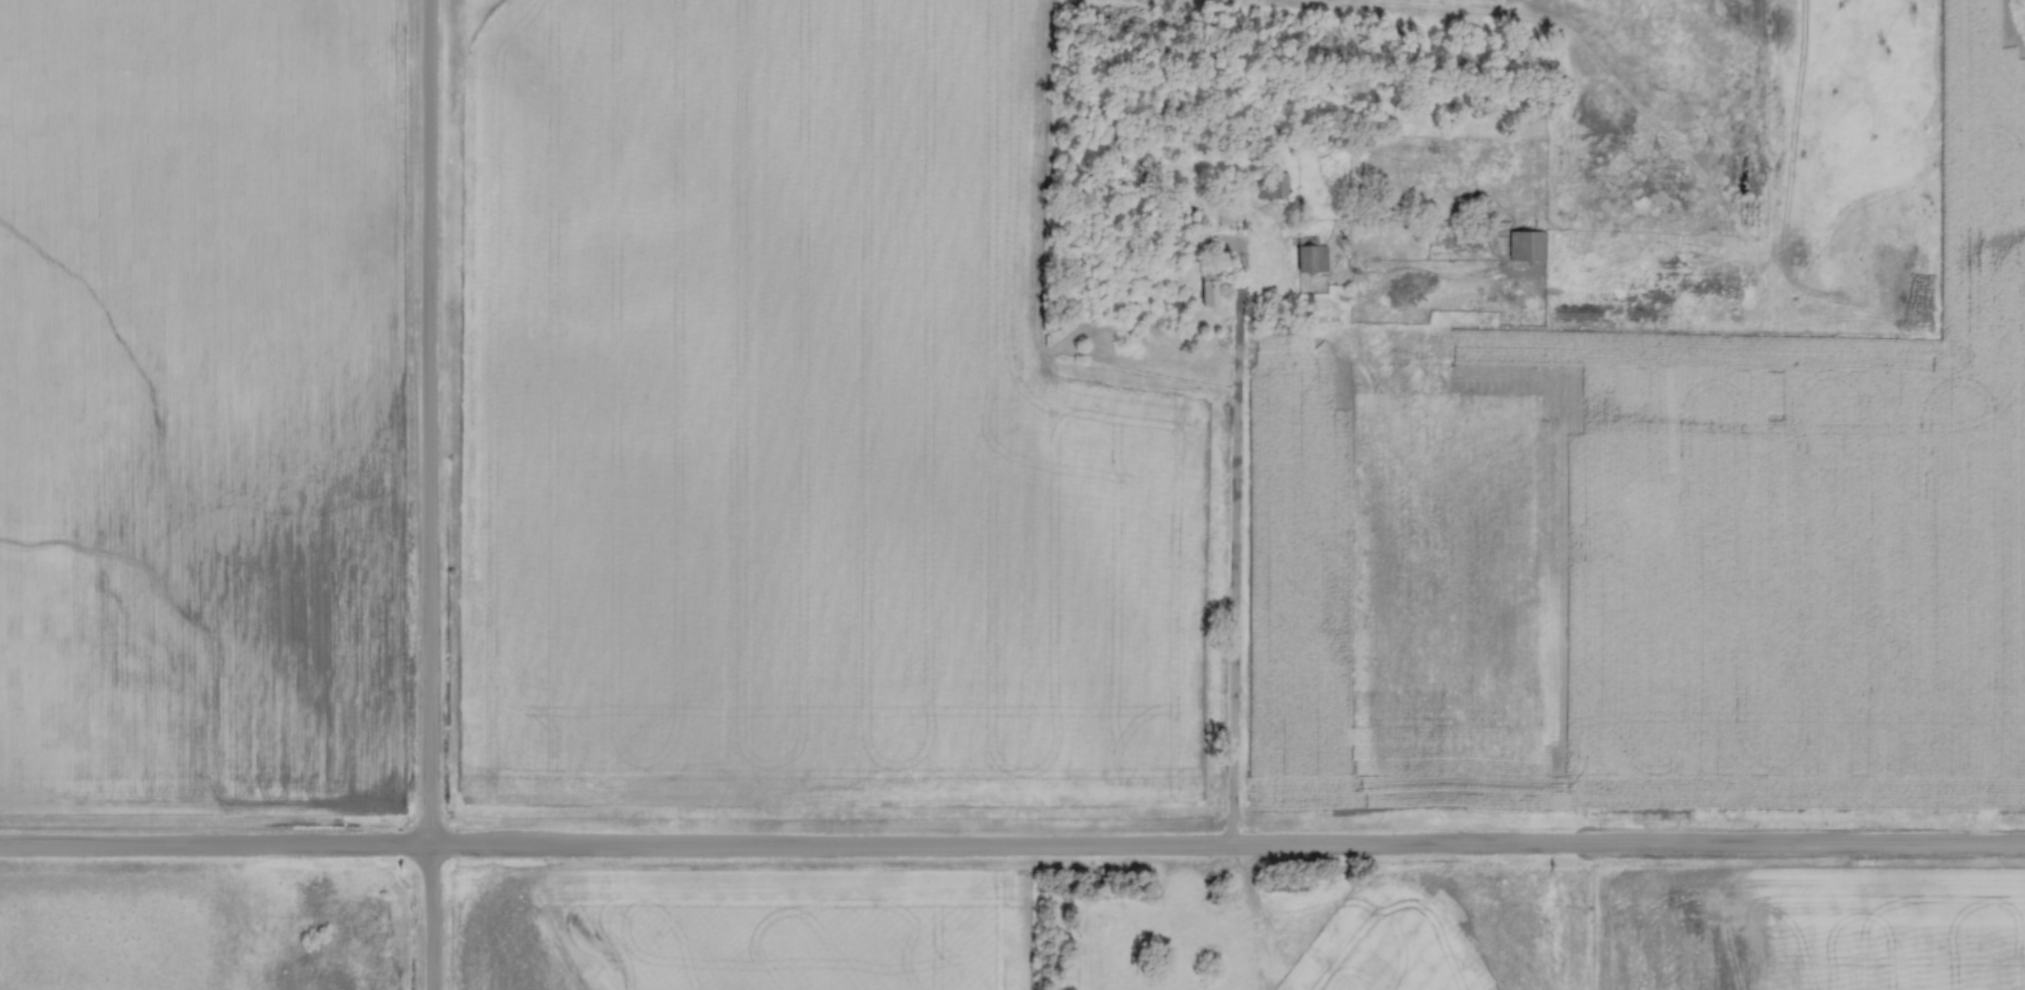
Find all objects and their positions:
building: (1275, 186)
building: (1531, 246)
building: (1321, 259)
building: (1213, 295)
road: (429, 494)
road: (1233, 537)
road: (1012, 851)

